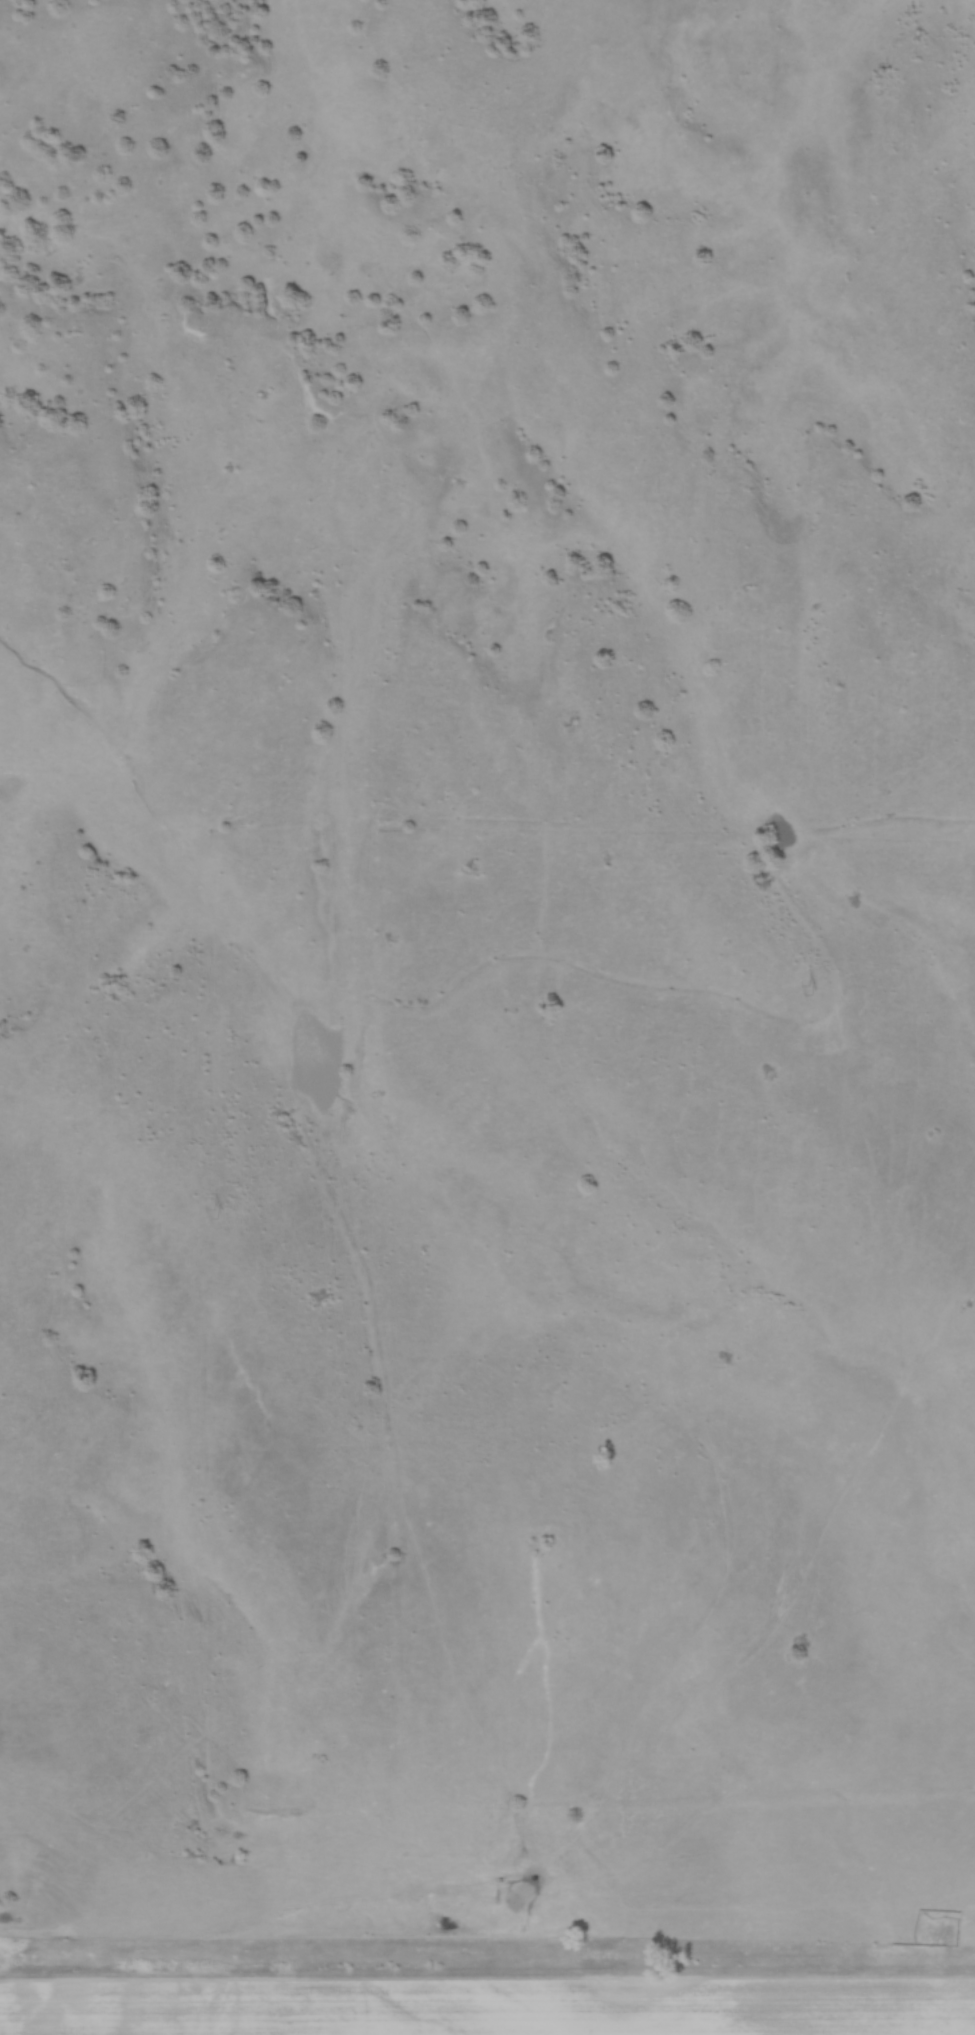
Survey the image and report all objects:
power tower: (811, 989)
power tower: (216, 1213)

